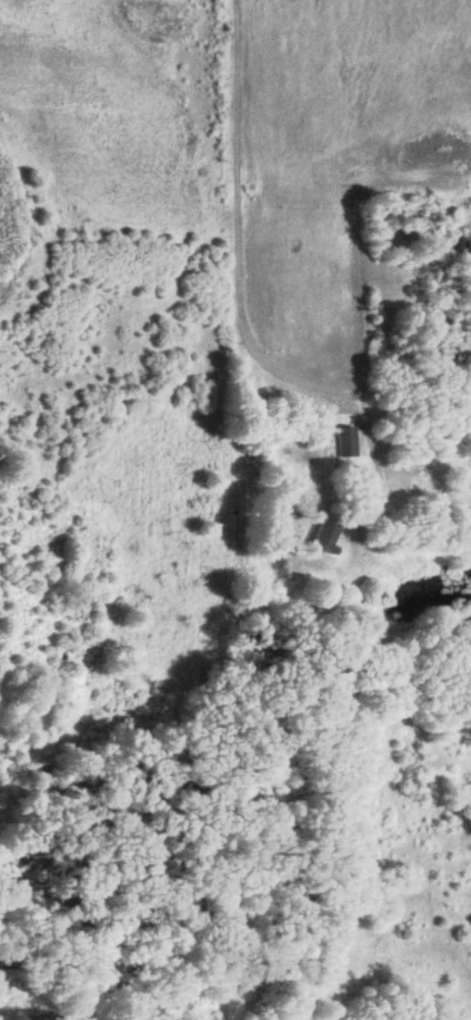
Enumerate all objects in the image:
building: (341, 441)
building: (320, 536)

